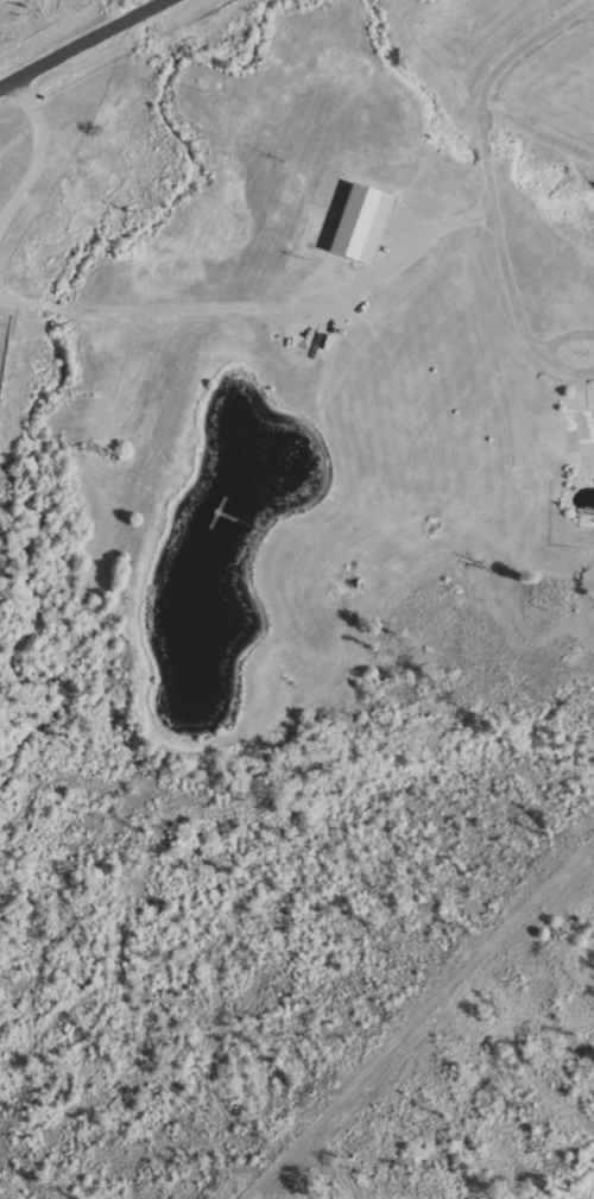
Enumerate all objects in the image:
road: (81, 39)
road: (46, 162)
road: (493, 184)
building: (362, 225)
road: (260, 315)

